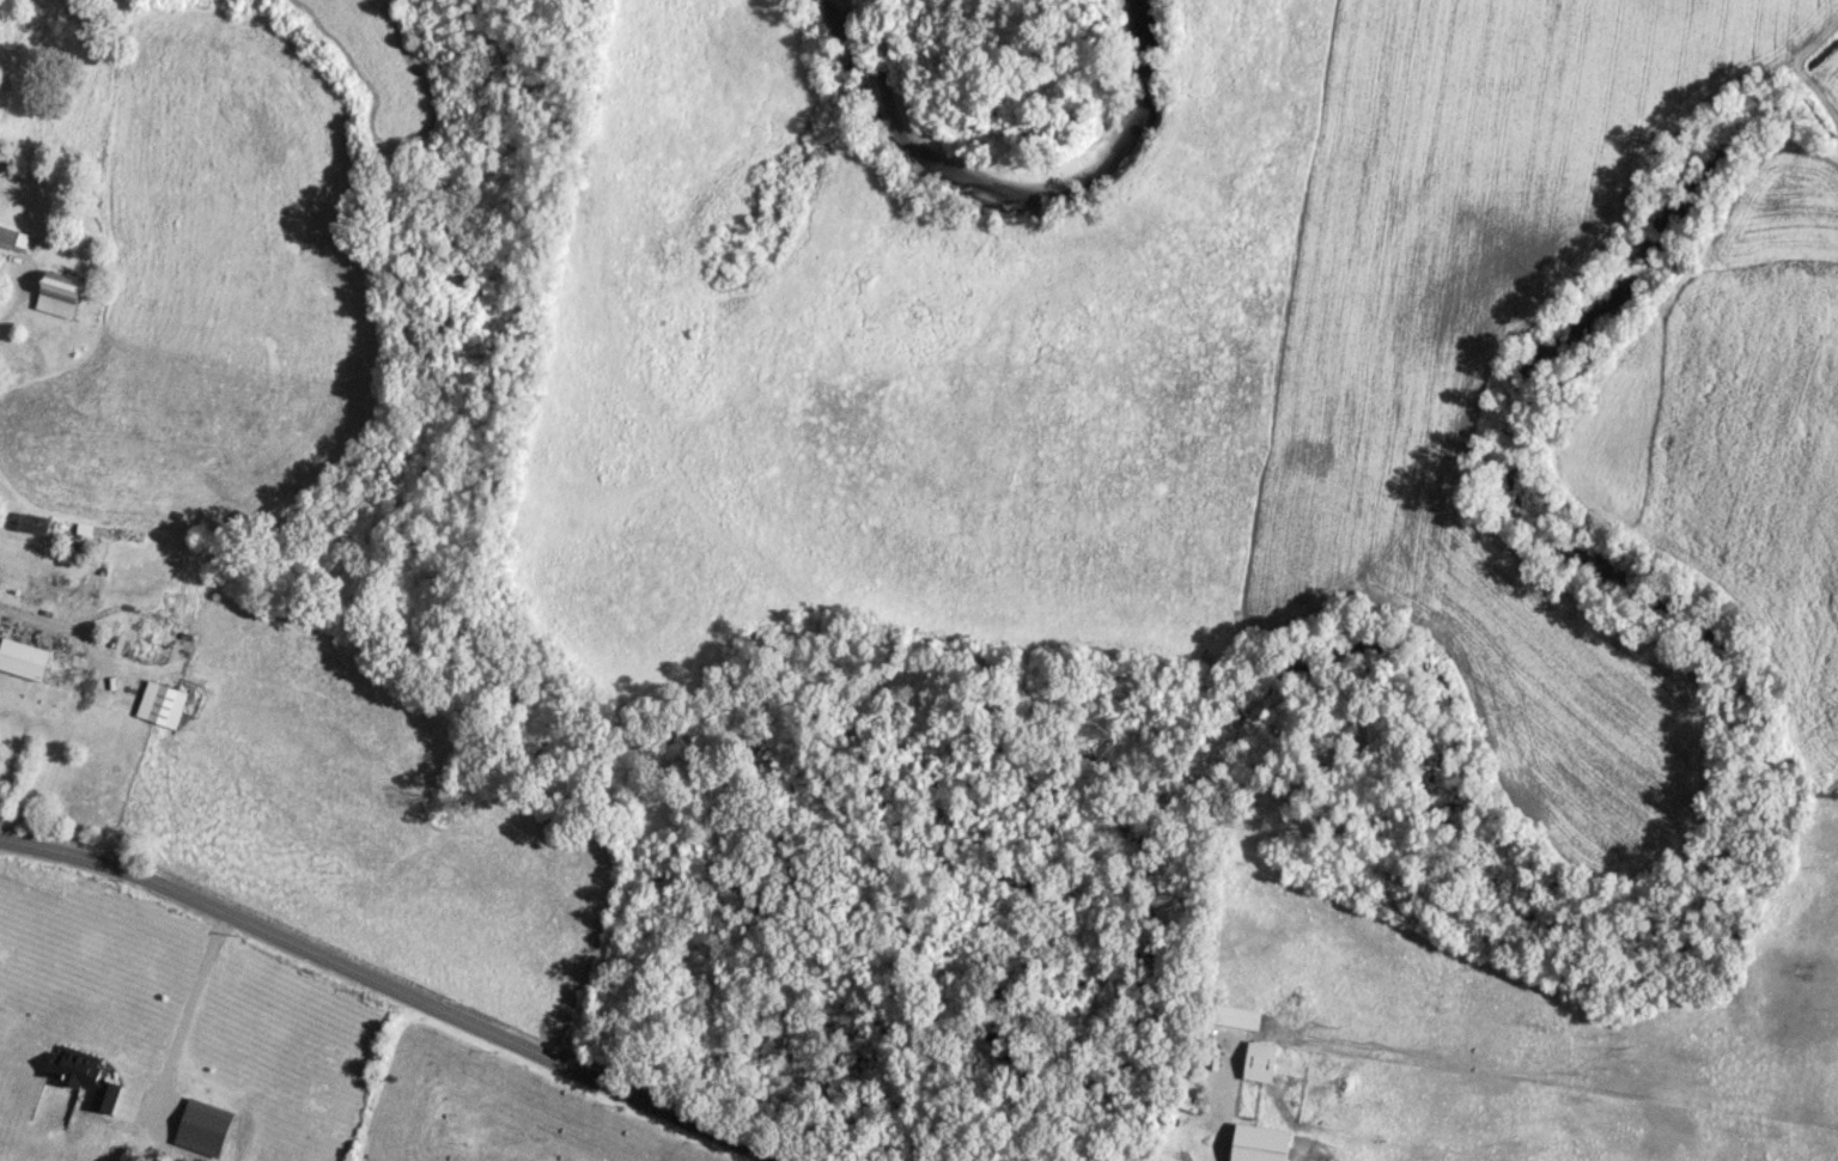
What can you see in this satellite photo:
river: (1014, 186)
building: (13, 238)
road: (19, 280)
building: (60, 293)
building: (32, 522)
road: (37, 618)
building: (23, 658)
building: (160, 703)
road: (396, 990)
road: (187, 1005)
building: (1238, 1016)
building: (1259, 1060)
building: (84, 1075)
building: (1258, 1143)

